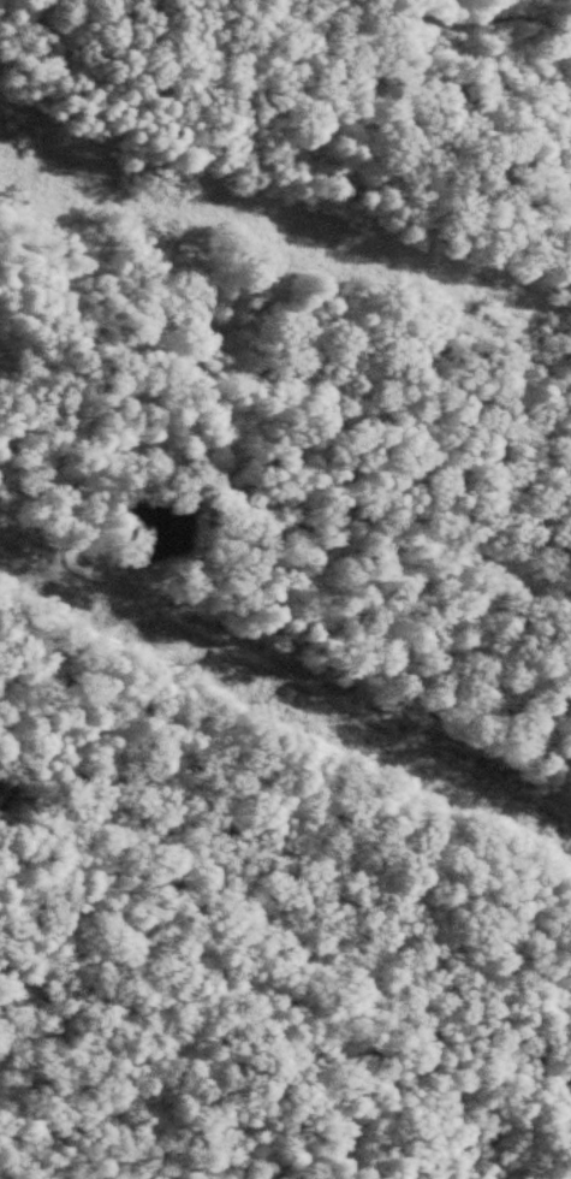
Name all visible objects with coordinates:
power tower: (225, 656)

